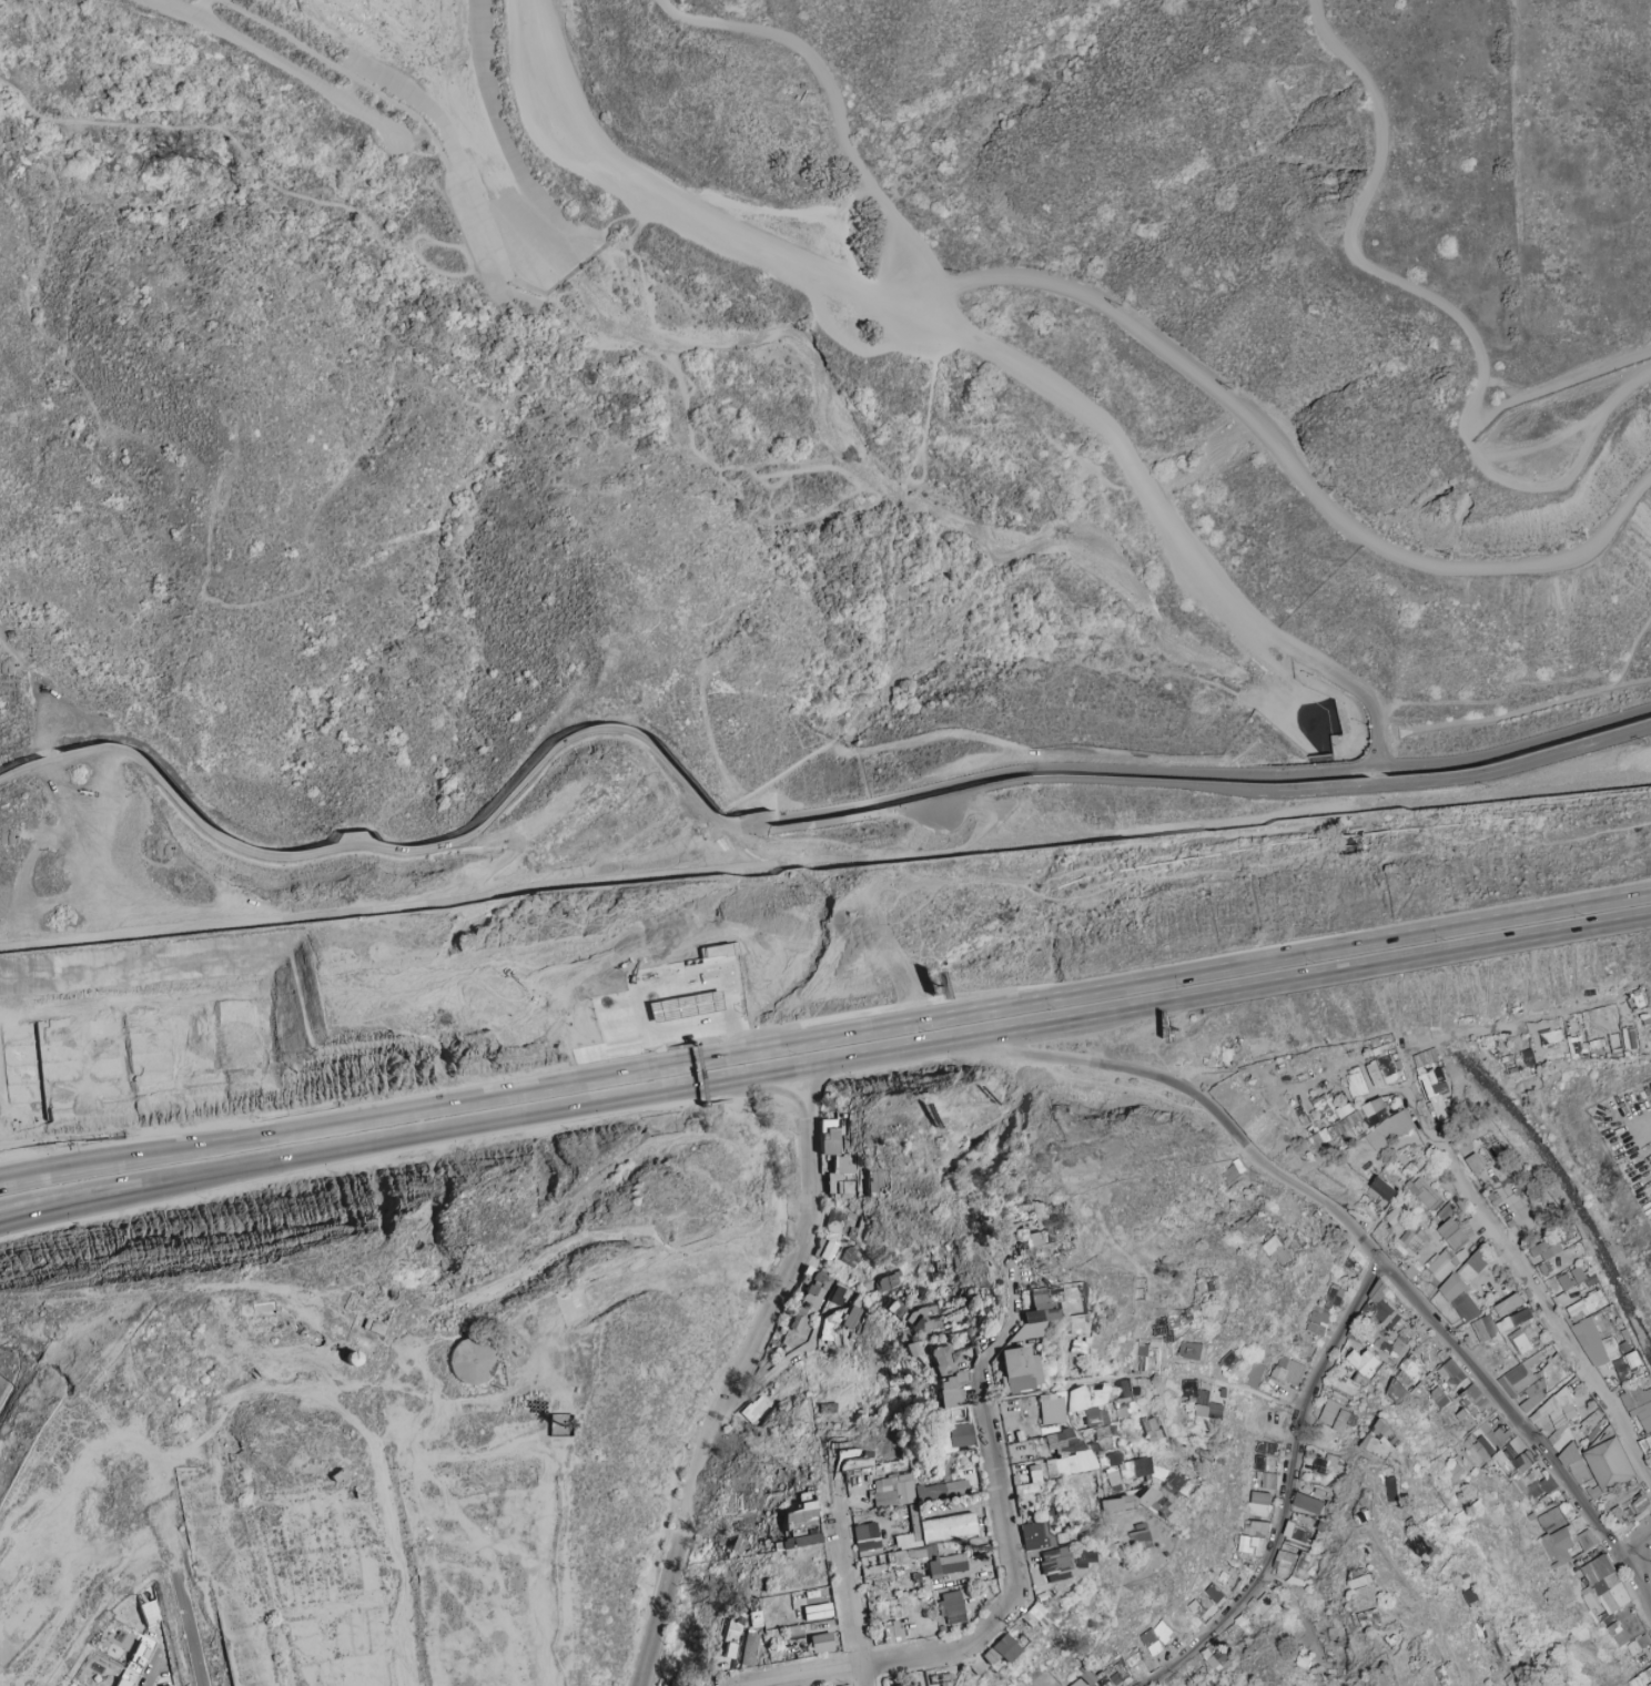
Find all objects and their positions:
road: (280, 62)
road: (336, 68)
road: (831, 101)
road: (222, 128)
road: (1355, 233)
road: (469, 266)
road: (991, 353)
road: (1560, 386)
road: (1556, 399)
road: (1282, 457)
road: (1564, 481)
road: (13, 657)
road: (41, 732)
road: (1202, 773)
road: (1580, 785)
road: (1203, 788)
road: (940, 813)
road: (398, 852)
road: (659, 875)
road: (140, 934)
building: (721, 949)
building: (670, 997)
building: (699, 1005)
road: (688, 1020)
road: (873, 1028)
road: (735, 1033)
road: (660, 1036)
road: (717, 1036)
building: (1548, 1037)
building: (1629, 1037)
road: (880, 1052)
building: (1382, 1070)
building: (1431, 1071)
road: (693, 1074)
building: (1355, 1081)
building: (1439, 1106)
building: (1385, 1123)
building: (833, 1136)
building: (1476, 1162)
building: (841, 1178)
building: (874, 1181)
building: (1380, 1191)
building: (1425, 1192)
building: (1371, 1206)
building: (1445, 1211)
building: (1395, 1216)
building: (841, 1223)
building: (1255, 1226)
building: (1025, 1241)
building: (1409, 1241)
building: (1547, 1248)
building: (1449, 1249)
building: (824, 1250)
building: (1277, 1250)
building: (849, 1257)
building: (1546, 1268)
building: (1411, 1271)
building: (1572, 1278)
building: (1592, 1280)
building: (887, 1282)
building: (1462, 1291)
building: (1335, 1296)
building: (810, 1301)
building: (1508, 1304)
building: (1379, 1306)
building: (1588, 1306)
building: (1194, 1312)
building: (1036, 1313)
building: (985, 1314)
building: (850, 1318)
building: (938, 1318)
building: (1515, 1319)
building: (1317, 1321)
building: (1485, 1328)
building: (1355, 1333)
building: (911, 1350)
building: (1142, 1350)
building: (1192, 1350)
building: (1392, 1352)
building: (943, 1358)
building: (472, 1362)
building: (1364, 1362)
building: (1628, 1364)
building: (1019, 1370)
building: (1288, 1370)
building: (1255, 1374)
building: (1517, 1378)
building: (1404, 1379)
building: (1444, 1382)
building: (950, 1390)
building: (1533, 1394)
building: (1126, 1399)
building: (1201, 1400)
building: (1088, 1404)
building: (1640, 1406)
building: (754, 1409)
building: (827, 1409)
building: (1050, 1410)
building: (1335, 1415)
building: (1480, 1422)
building: (1591, 1422)
building: (1151, 1429)
building: (959, 1435)
building: (1104, 1438)
building: (1384, 1440)
building: (1649, 1440)
building: (1265, 1448)
building: (1065, 1454)
building: (1515, 1456)
building: (852, 1459)
building: (1113, 1459)
building: (1259, 1462)
building: (1323, 1463)
building: (1610, 1465)
building: (1138, 1470)
building: (1458, 1471)
building: (1112, 1476)
building: (1268, 1480)
building: (1026, 1486)
building: (1177, 1486)
building: (1540, 1487)
building: (1392, 1489)
building: (941, 1490)
building: (891, 1491)
building: (1154, 1503)
building: (1258, 1503)
building: (1308, 1503)
building: (1116, 1504)
building: (756, 1510)
building: (1619, 1514)
building: (1549, 1516)
building: (912, 1525)
building: (1256, 1526)
building: (800, 1527)
building: (946, 1528)
building: (1297, 1534)
building: (1035, 1536)
building: (1137, 1537)
building: (863, 1538)
building: (1564, 1543)
building: (737, 1545)
building: (1250, 1545)
building: (1420, 1545)
building: (891, 1558)
building: (1063, 1564)
building: (1290, 1564)
building: (944, 1566)
building: (1361, 1581)
building: (1602, 1585)
building: (1215, 1593)
building: (1263, 1604)
building: (1201, 1605)
building: (951, 1607)
building: (1370, 1618)
building: (754, 1619)
building: (1244, 1623)
building: (891, 1632)
building: (1233, 1632)
building: (1618, 1633)
building: (1157, 1636)
building: (1012, 1638)
building: (729, 1639)
building: (821, 1643)
building: (1510, 1644)
building: (747, 1649)
building: (139, 1656)
building: (1214, 1658)
building: (1194, 1667)
building: (1116, 1673)
building: (1082, 1678)
building: (1641, 1679)
building: (124, 1682)
building: (1513, 1683)
building: (908, 1685)

